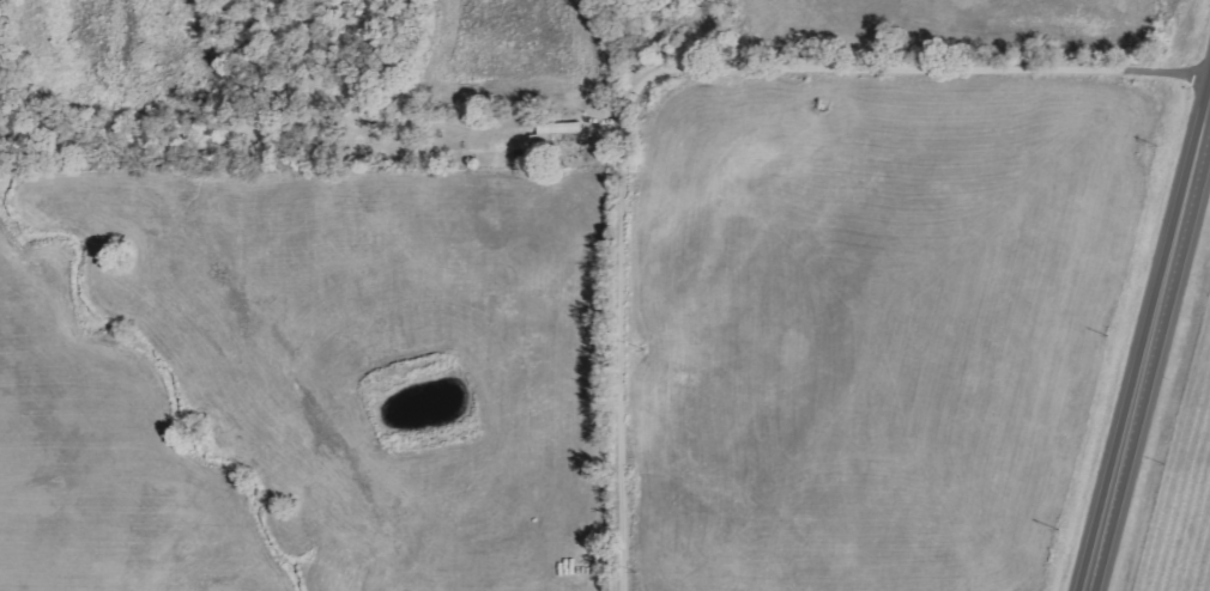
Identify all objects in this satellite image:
road: (670, 71)
building: (556, 132)
road: (1147, 352)

